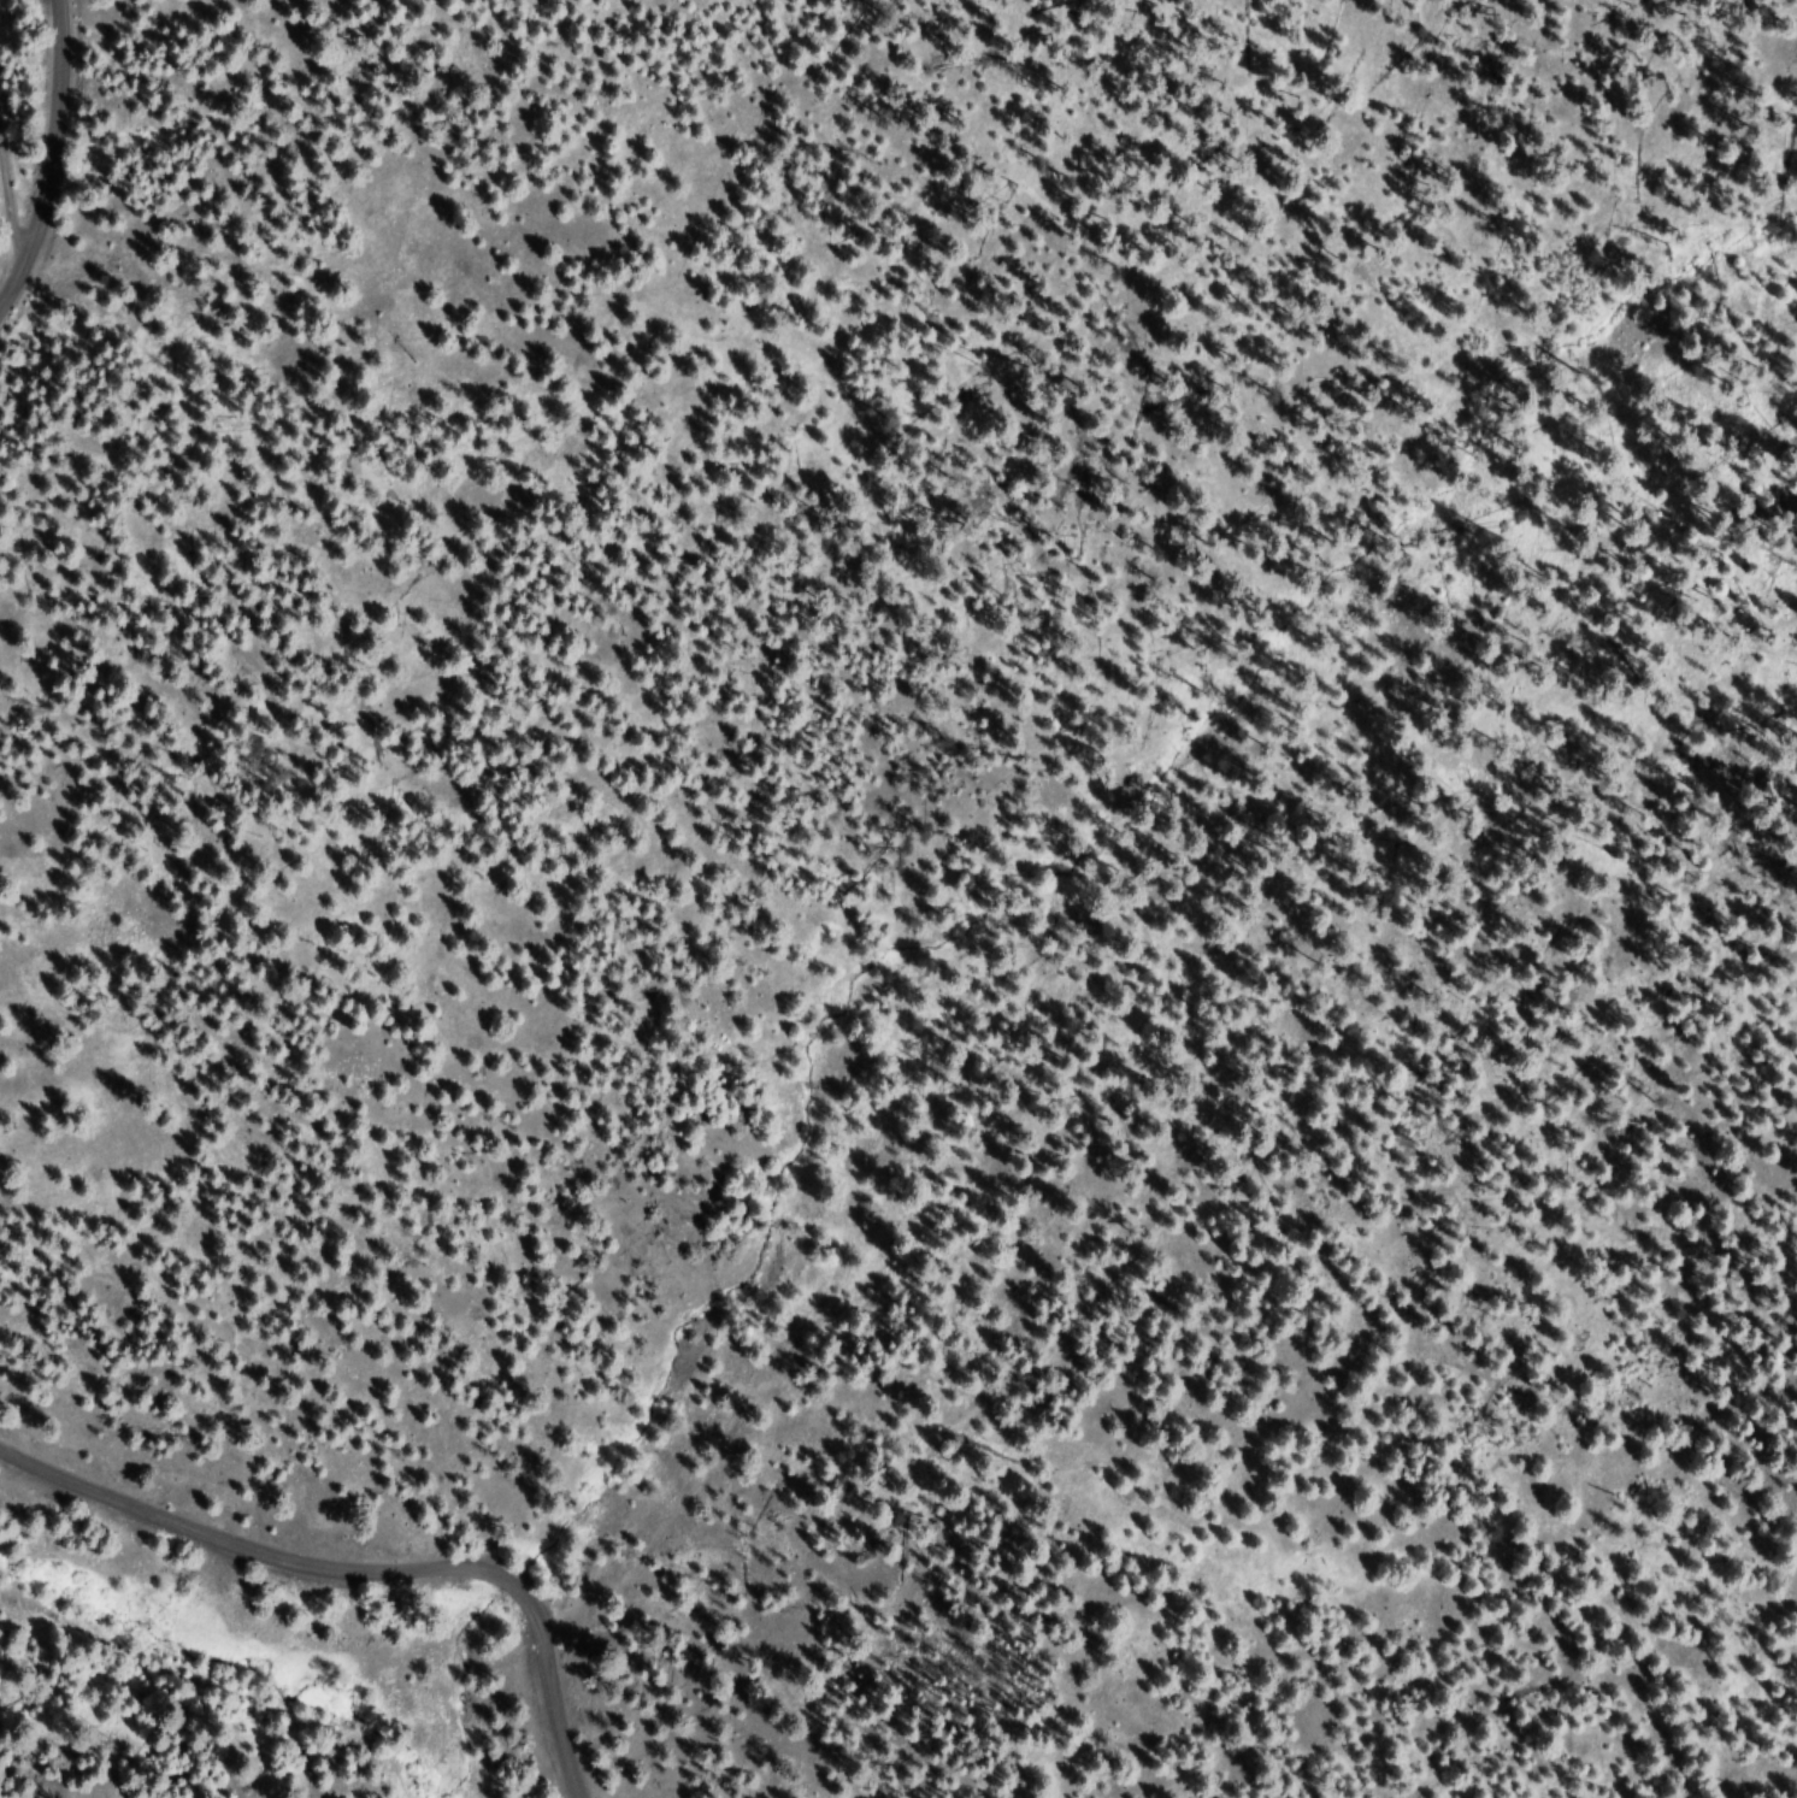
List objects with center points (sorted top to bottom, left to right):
road: (53, 158)
road: (350, 1578)

